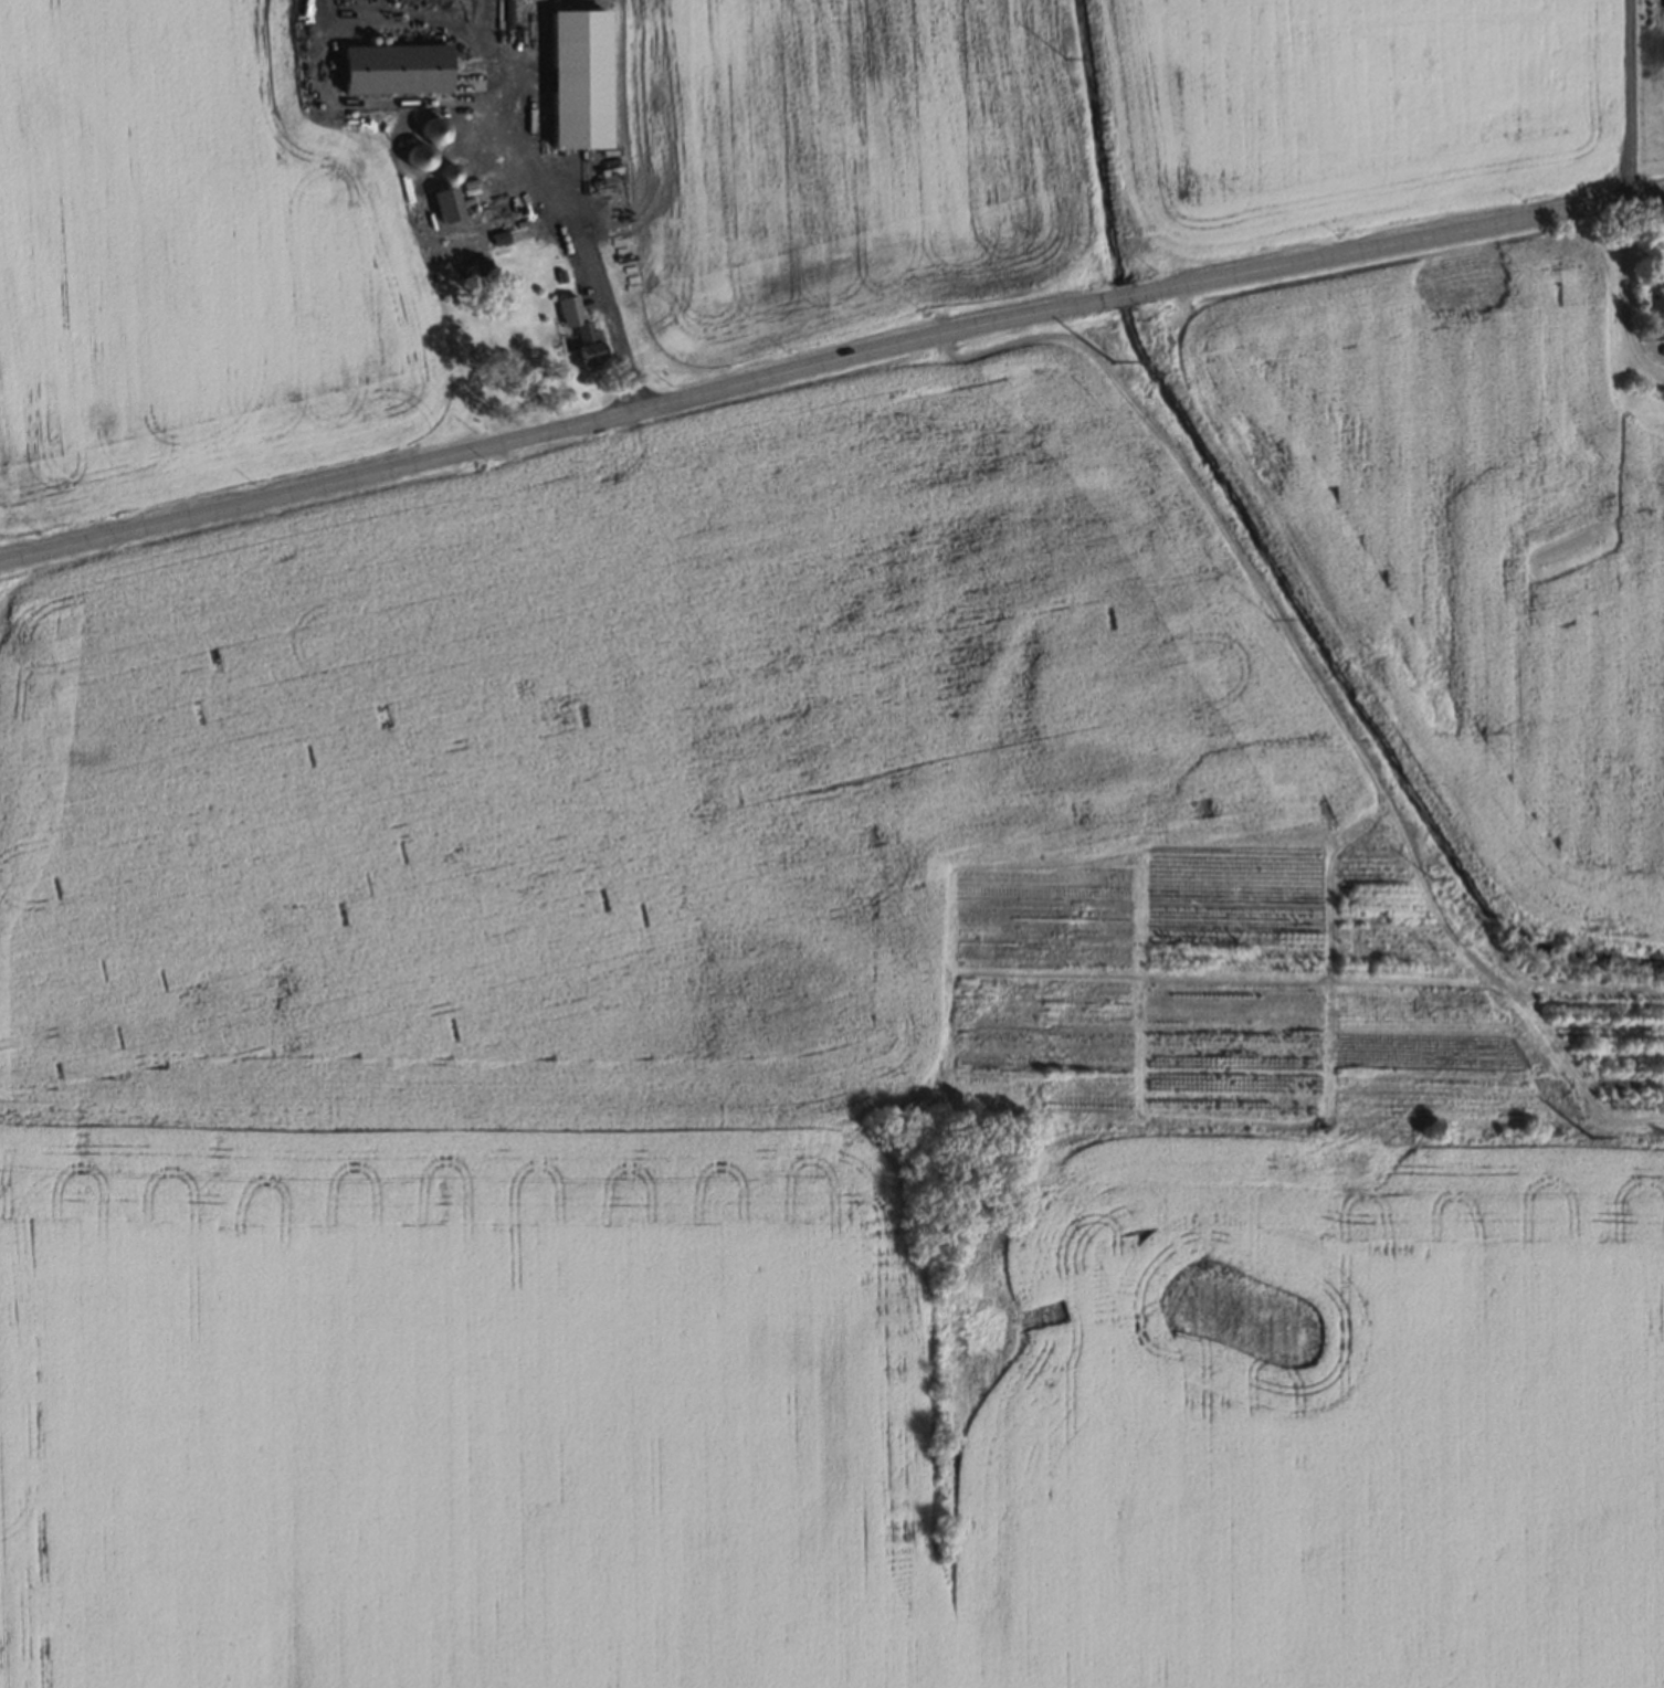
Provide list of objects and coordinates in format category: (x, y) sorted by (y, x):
building: (398, 71)
building: (582, 82)
road: (1632, 98)
building: (429, 131)
storage tank: (435, 131)
storage tank: (421, 158)
building: (414, 159)
storage tank: (450, 175)
building: (486, 197)
building: (450, 207)
building: (502, 240)
road: (1409, 240)
road: (588, 254)
building: (480, 268)
building: (558, 275)
road: (1623, 295)
road: (1119, 296)
building: (578, 327)
building: (1651, 331)
building: (1661, 349)
power tower: (1106, 358)
road: (540, 433)
power tower: (1588, 1137)

